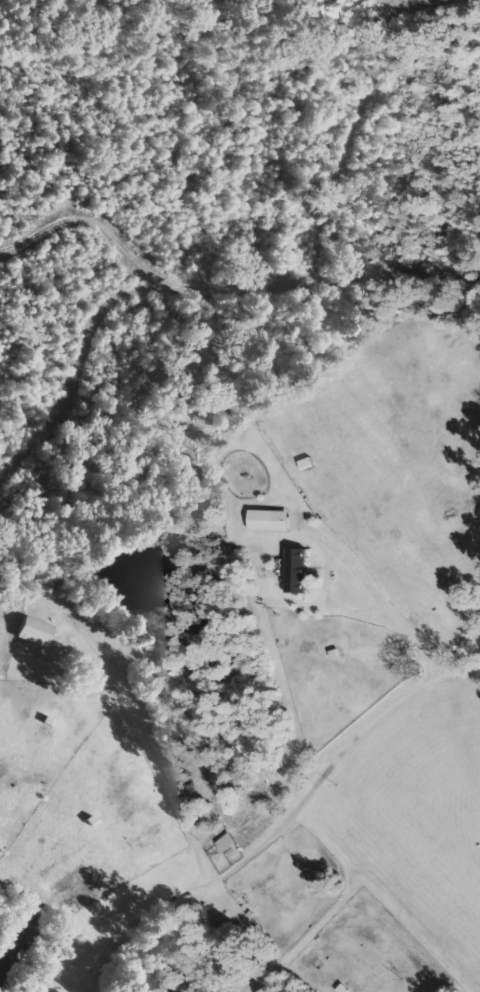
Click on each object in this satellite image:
building: (270, 520)
building: (297, 571)
building: (34, 631)
building: (227, 843)
building: (13, 943)

